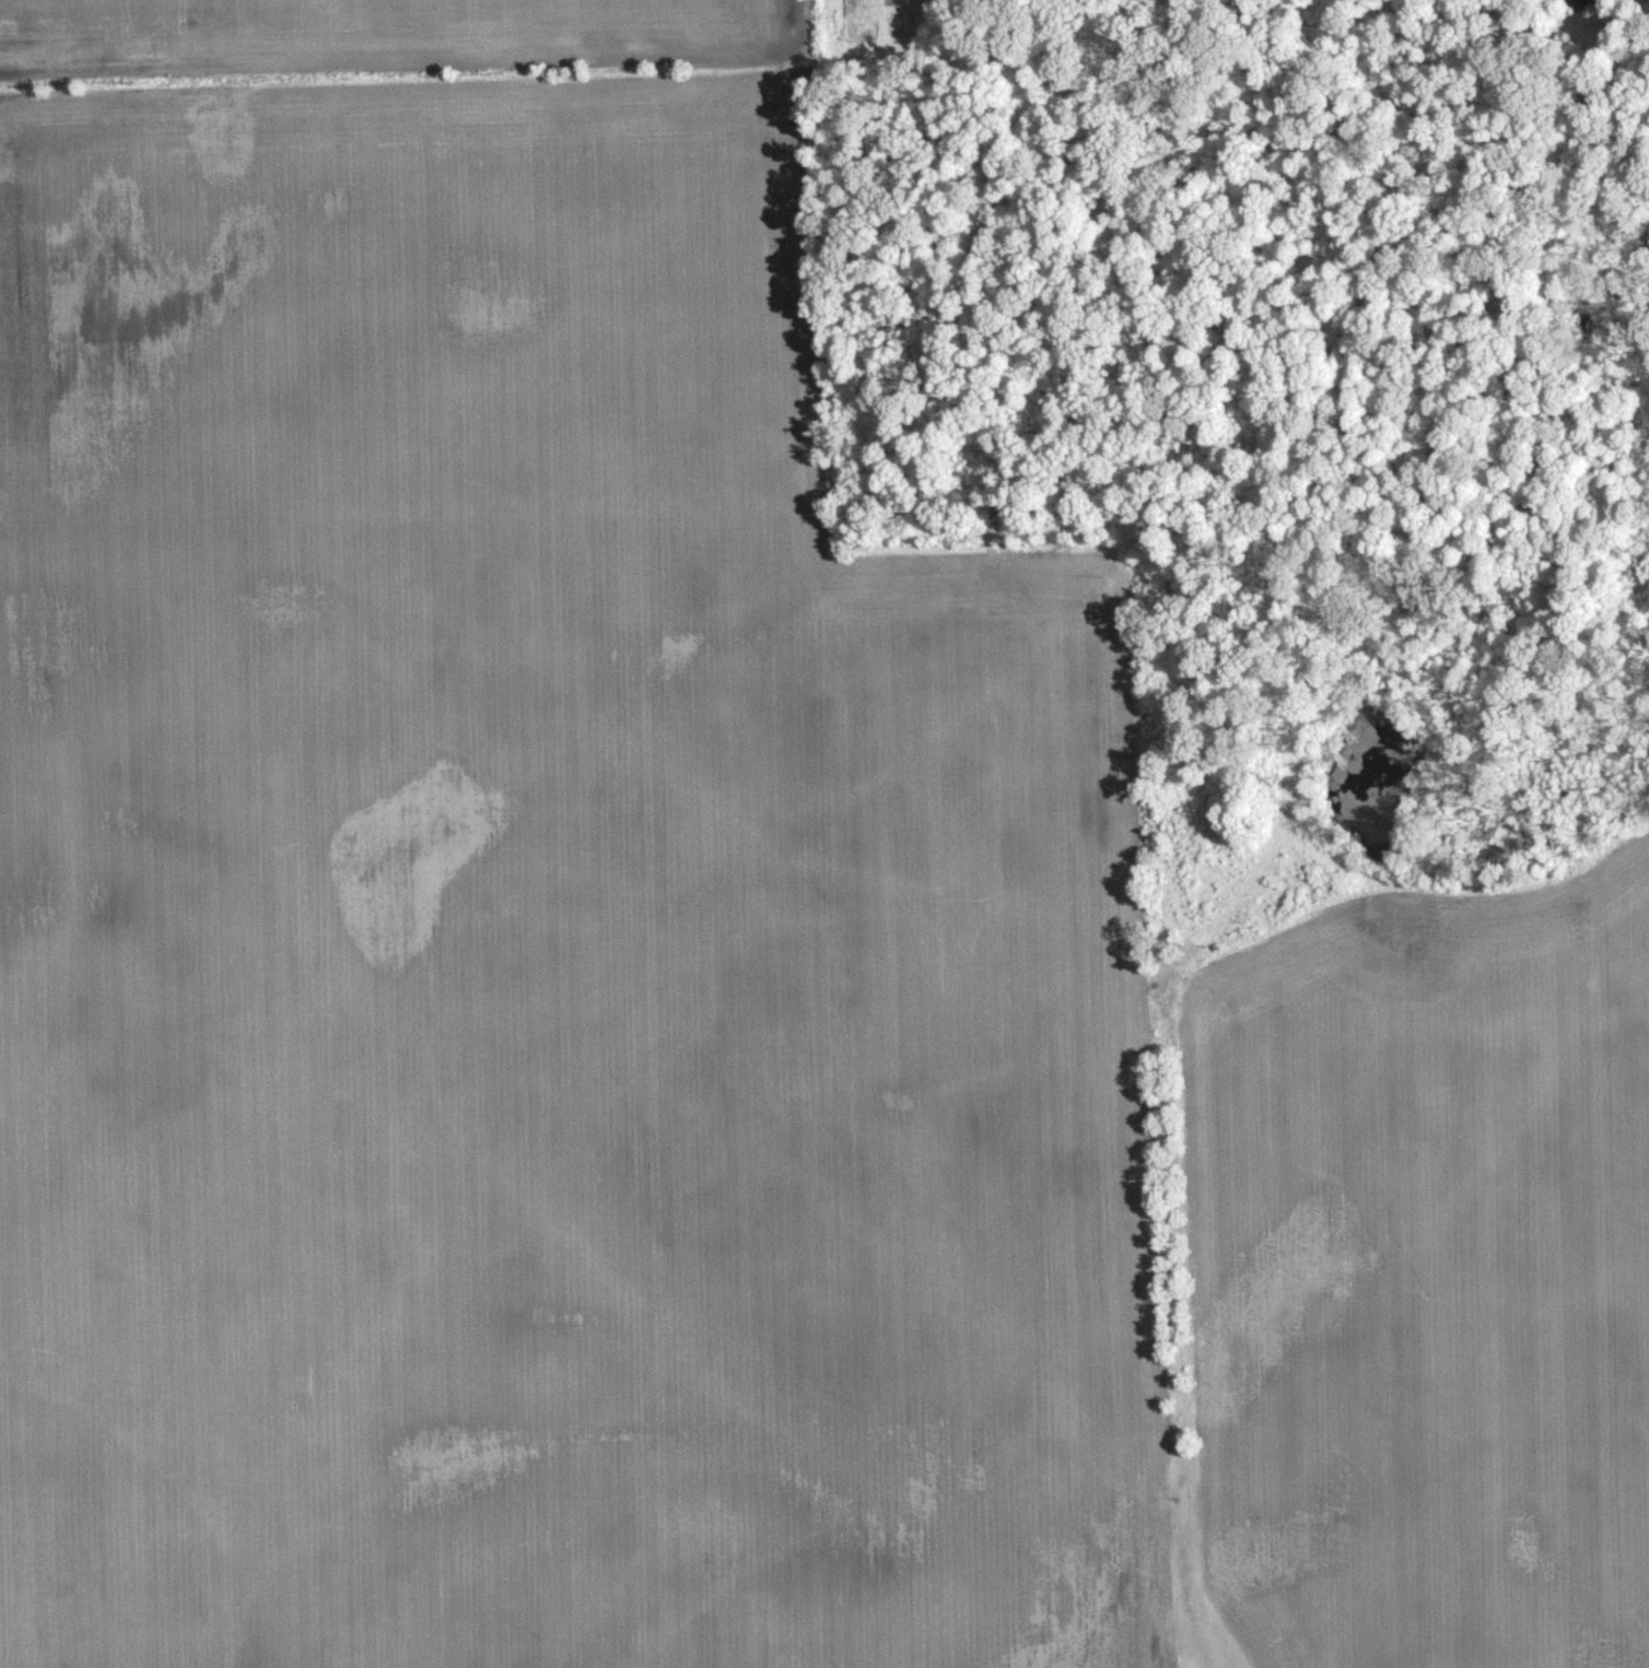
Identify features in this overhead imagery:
building: (1590, 1)

